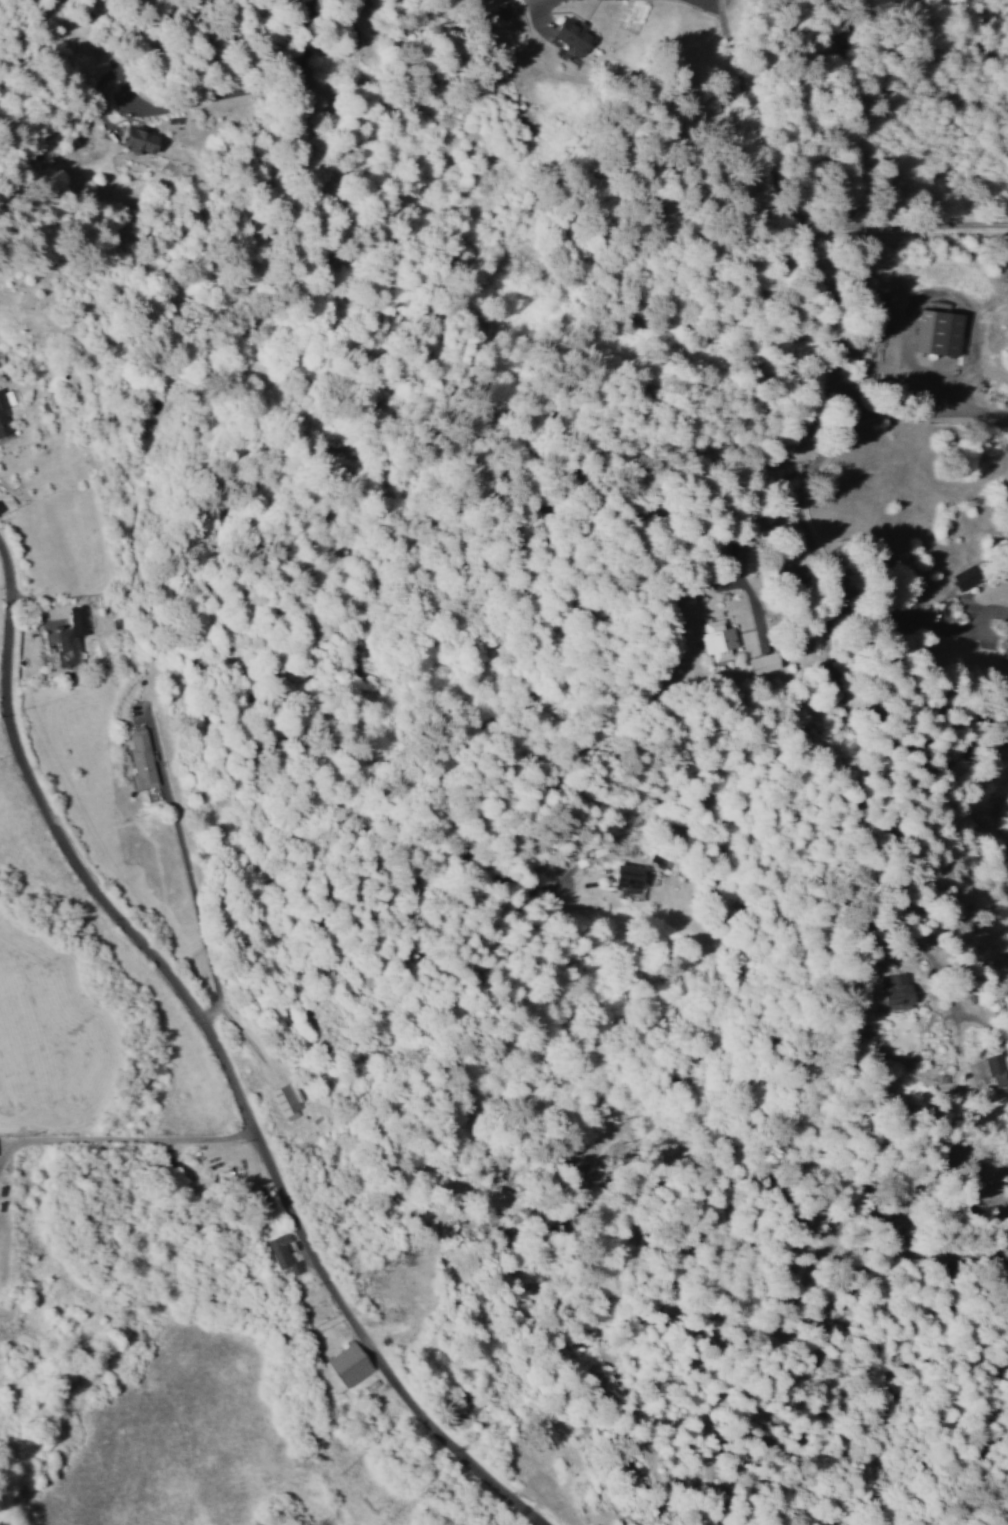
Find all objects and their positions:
building: (572, 36)
building: (142, 140)
building: (939, 332)
building: (4, 419)
building: (72, 636)
building: (719, 643)
building: (765, 662)
building: (631, 877)
road: (219, 1058)
building: (999, 1070)
building: (290, 1098)
road: (129, 1165)
building: (284, 1252)
building: (346, 1367)

